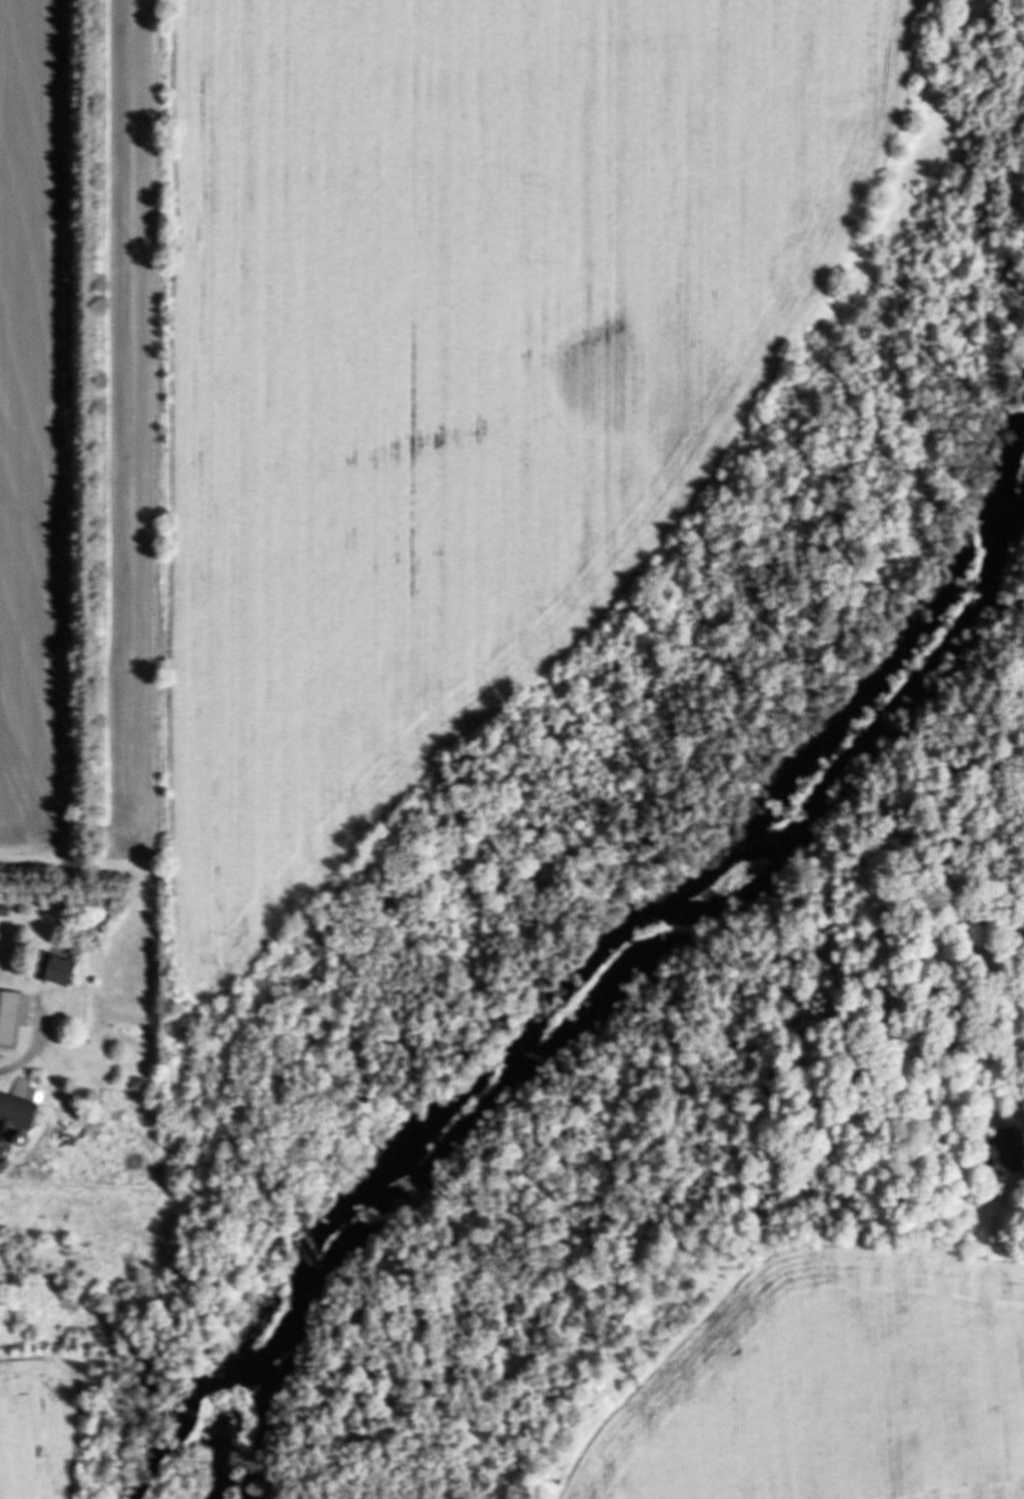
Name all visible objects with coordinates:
road: (165, 566)
building: (2, 910)
river: (622, 929)
building: (51, 969)
building: (7, 1016)
building: (19, 1110)
building: (1000, 1149)

